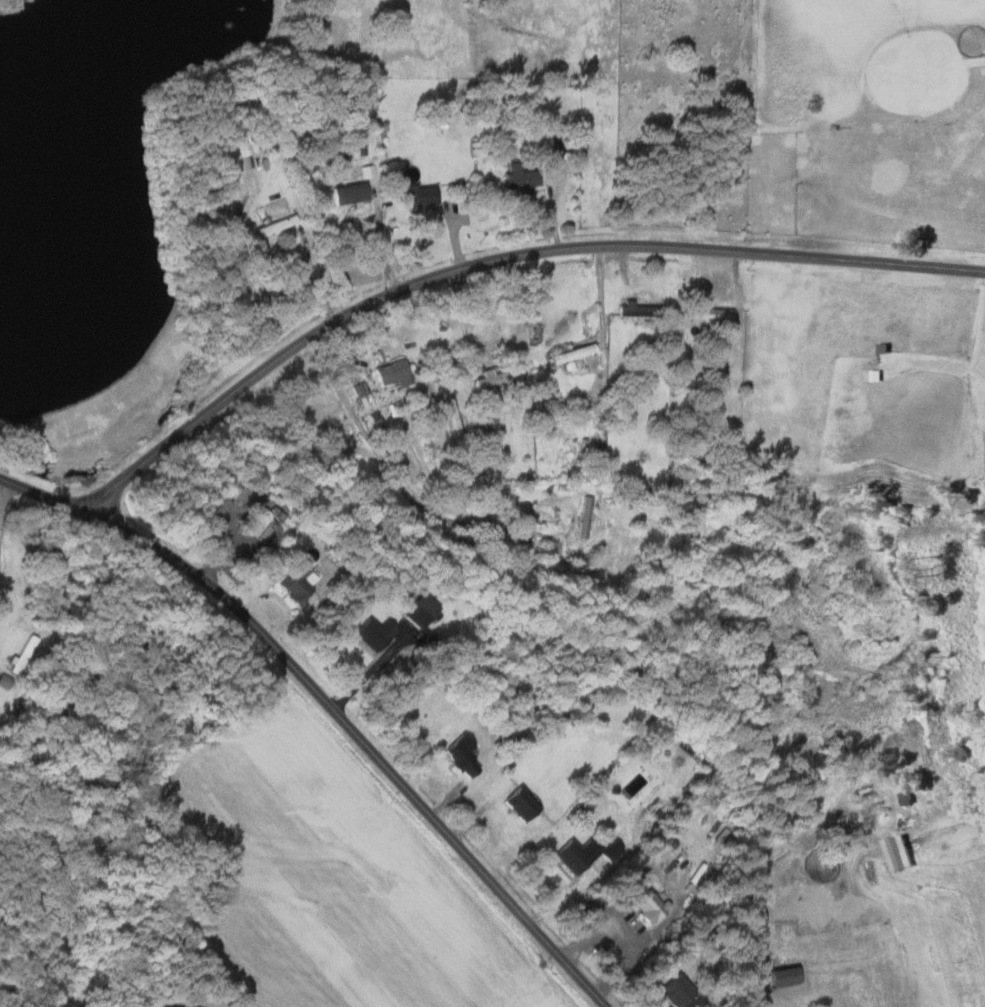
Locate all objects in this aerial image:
building: (239, 148)
building: (518, 178)
building: (348, 193)
building: (420, 196)
building: (274, 225)
road: (269, 254)
road: (498, 257)
road: (601, 295)
building: (633, 311)
road: (463, 316)
building: (571, 354)
building: (391, 373)
building: (497, 377)
building: (597, 440)
road: (398, 482)
road: (3, 503)
building: (583, 518)
building: (256, 523)
building: (294, 583)
building: (418, 611)
building: (372, 634)
road: (329, 706)
building: (459, 756)
building: (519, 804)
building: (896, 852)
building: (583, 854)
road: (755, 878)
building: (648, 908)
building: (673, 991)

